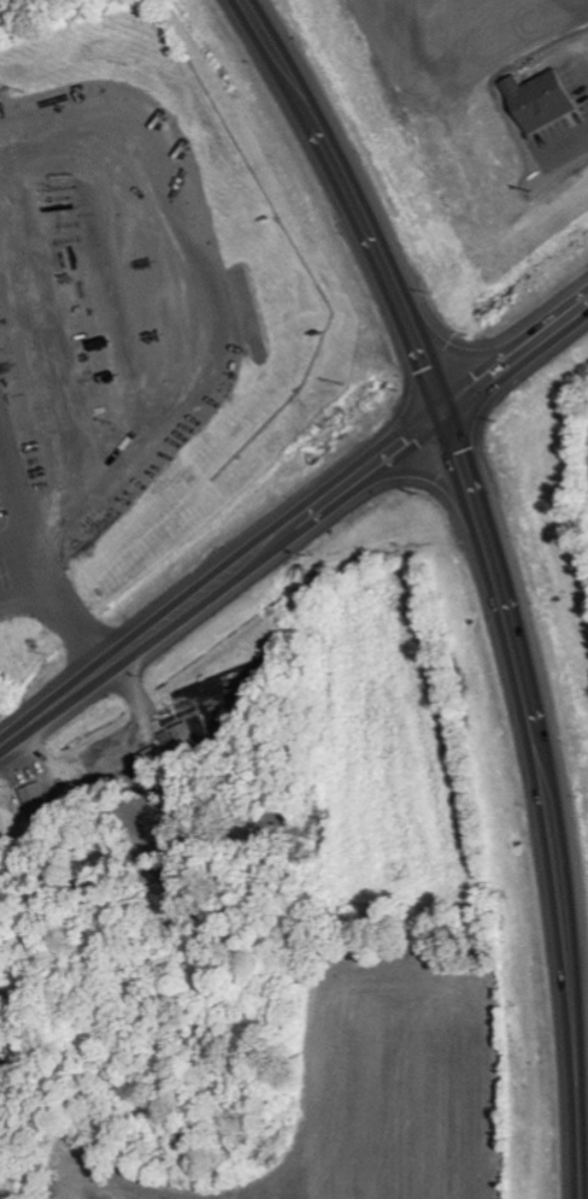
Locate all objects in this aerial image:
building: (539, 100)
road: (434, 419)
road: (499, 575)
road: (141, 640)
building: (36, 798)

